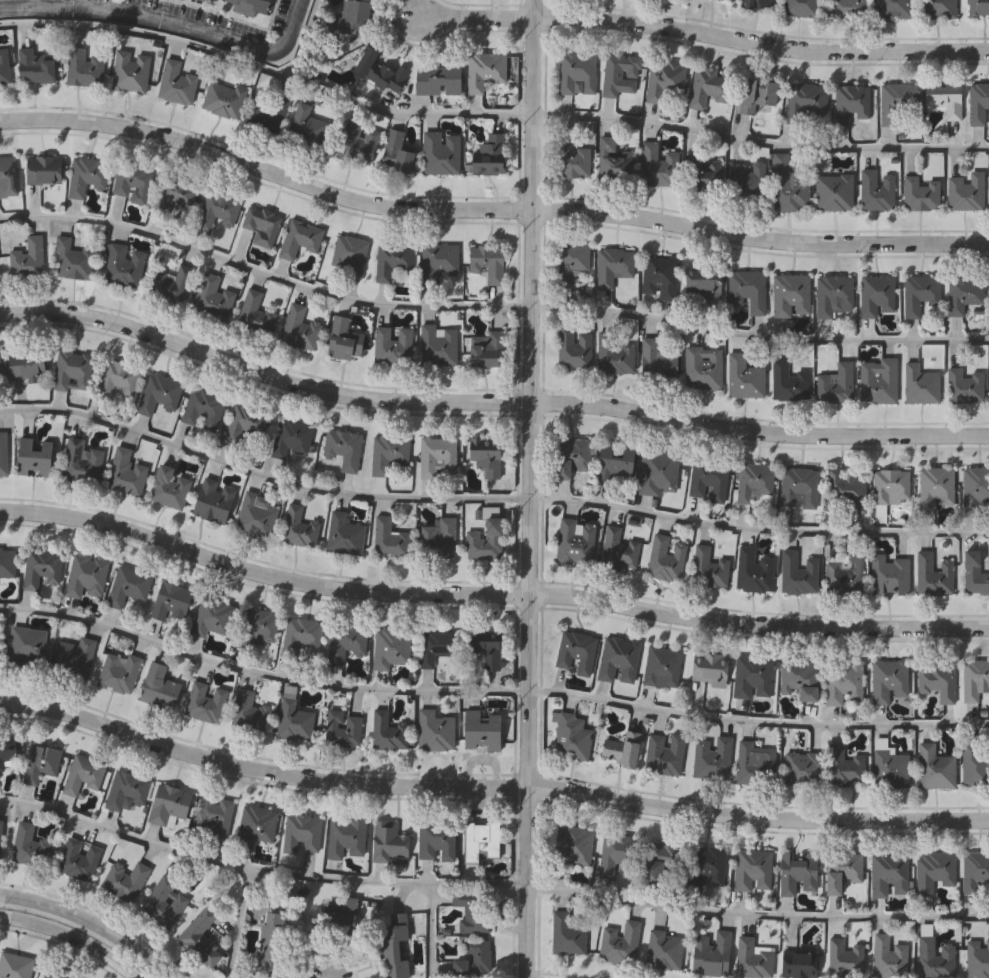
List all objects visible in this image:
building: (206, 0)
building: (727, 0)
building: (756, 3)
building: (251, 6)
building: (799, 7)
building: (848, 7)
building: (893, 8)
building: (938, 8)
building: (357, 11)
road: (476, 17)
road: (168, 27)
road: (760, 43)
road: (183, 49)
building: (4, 65)
building: (34, 66)
building: (83, 67)
building: (376, 69)
building: (484, 69)
building: (130, 70)
building: (576, 70)
building: (620, 74)
building: (438, 76)
building: (176, 82)
building: (665, 83)
building: (707, 86)
building: (757, 94)
building: (222, 98)
building: (944, 98)
building: (895, 100)
building: (978, 101)
building: (806, 102)
building: (850, 102)
building: (273, 112)
building: (307, 124)
road: (693, 133)
building: (362, 143)
building: (395, 152)
building: (440, 152)
building: (490, 153)
building: (571, 158)
building: (612, 159)
building: (657, 164)
building: (44, 169)
building: (704, 172)
building: (85, 174)
building: (7, 175)
building: (747, 180)
building: (130, 182)
building: (787, 185)
building: (875, 189)
building: (964, 190)
building: (833, 191)
building: (920, 192)
building: (175, 196)
building: (216, 209)
road: (489, 210)
building: (260, 225)
building: (299, 237)
building: (348, 253)
building: (26, 256)
building: (391, 258)
building: (72, 259)
building: (438, 260)
building: (570, 260)
building: (487, 261)
building: (122, 265)
building: (613, 265)
building: (659, 275)
building: (703, 280)
building: (174, 284)
building: (747, 289)
building: (919, 292)
building: (962, 293)
building: (790, 294)
building: (832, 294)
building: (876, 295)
building: (211, 297)
road: (489, 306)
building: (253, 312)
building: (298, 327)
building: (343, 338)
building: (392, 344)
building: (437, 344)
building: (573, 347)
building: (486, 349)
building: (613, 353)
building: (657, 358)
building: (26, 363)
building: (702, 366)
building: (72, 369)
building: (0, 373)
building: (743, 376)
building: (115, 378)
building: (877, 380)
building: (789, 382)
building: (835, 383)
building: (919, 384)
building: (965, 385)
building: (157, 393)
road: (489, 402)
building: (202, 408)
building: (244, 427)
building: (292, 437)
building: (343, 447)
building: (3, 452)
building: (388, 453)
building: (570, 455)
building: (437, 456)
building: (33, 457)
building: (486, 460)
building: (81, 461)
building: (614, 464)
building: (658, 471)
building: (125, 472)
building: (707, 478)
building: (753, 480)
building: (975, 484)
building: (890, 485)
building: (936, 485)
building: (797, 486)
building: (169, 487)
road: (531, 488)
building: (845, 489)
road: (489, 498)
building: (213, 500)
building: (255, 517)
building: (298, 526)
building: (343, 534)
building: (389, 537)
building: (438, 538)
building: (485, 539)
building: (574, 540)
building: (618, 547)
building: (664, 557)
building: (41, 567)
building: (707, 567)
building: (752, 569)
building: (797, 571)
building: (974, 573)
building: (843, 574)
building: (888, 574)
building: (932, 574)
building: (86, 576)
building: (128, 585)
road: (490, 594)
building: (170, 600)
building: (211, 616)
building: (256, 626)
building: (302, 632)
building: (344, 642)
building: (27, 643)
building: (434, 645)
building: (390, 646)
building: (575, 651)
building: (482, 653)
building: (74, 657)
building: (618, 659)
building: (661, 666)
building: (709, 668)
building: (118, 671)
building: (751, 676)
building: (799, 677)
building: (974, 678)
building: (888, 679)
building: (936, 679)
building: (842, 681)
building: (160, 688)
road: (490, 693)
building: (206, 704)
building: (252, 712)
building: (294, 723)
building: (484, 727)
building: (342, 728)
building: (434, 728)
building: (388, 731)
building: (570, 733)
building: (620, 749)
building: (664, 752)
building: (712, 757)
building: (41, 761)
building: (753, 762)
building: (975, 762)
building: (842, 763)
building: (889, 767)
building: (934, 767)
building: (801, 768)
building: (82, 776)
road: (490, 786)
building: (127, 789)
building: (168, 803)
building: (213, 813)
building: (255, 824)
building: (301, 832)
building: (346, 837)
building: (436, 840)
building: (480, 840)
building: (388, 841)
building: (2, 842)
building: (573, 843)
building: (31, 845)
building: (637, 857)
building: (78, 858)
building: (705, 864)
building: (751, 869)
building: (974, 869)
building: (844, 870)
building: (933, 870)
road: (252, 871)
building: (797, 871)
building: (888, 874)
building: (124, 879)
road: (475, 885)
building: (163, 901)
building: (470, 908)
road: (757, 914)
road: (90, 920)
road: (236, 924)
building: (368, 929)
building: (566, 933)
building: (200, 937)
building: (273, 939)
road: (71, 940)
building: (619, 941)
building: (663, 948)
building: (711, 952)
building: (888, 956)
building: (844, 957)
building: (934, 957)
building: (977, 957)
building: (751, 958)
building: (472, 959)
building: (799, 963)
building: (14, 965)
building: (55, 973)

